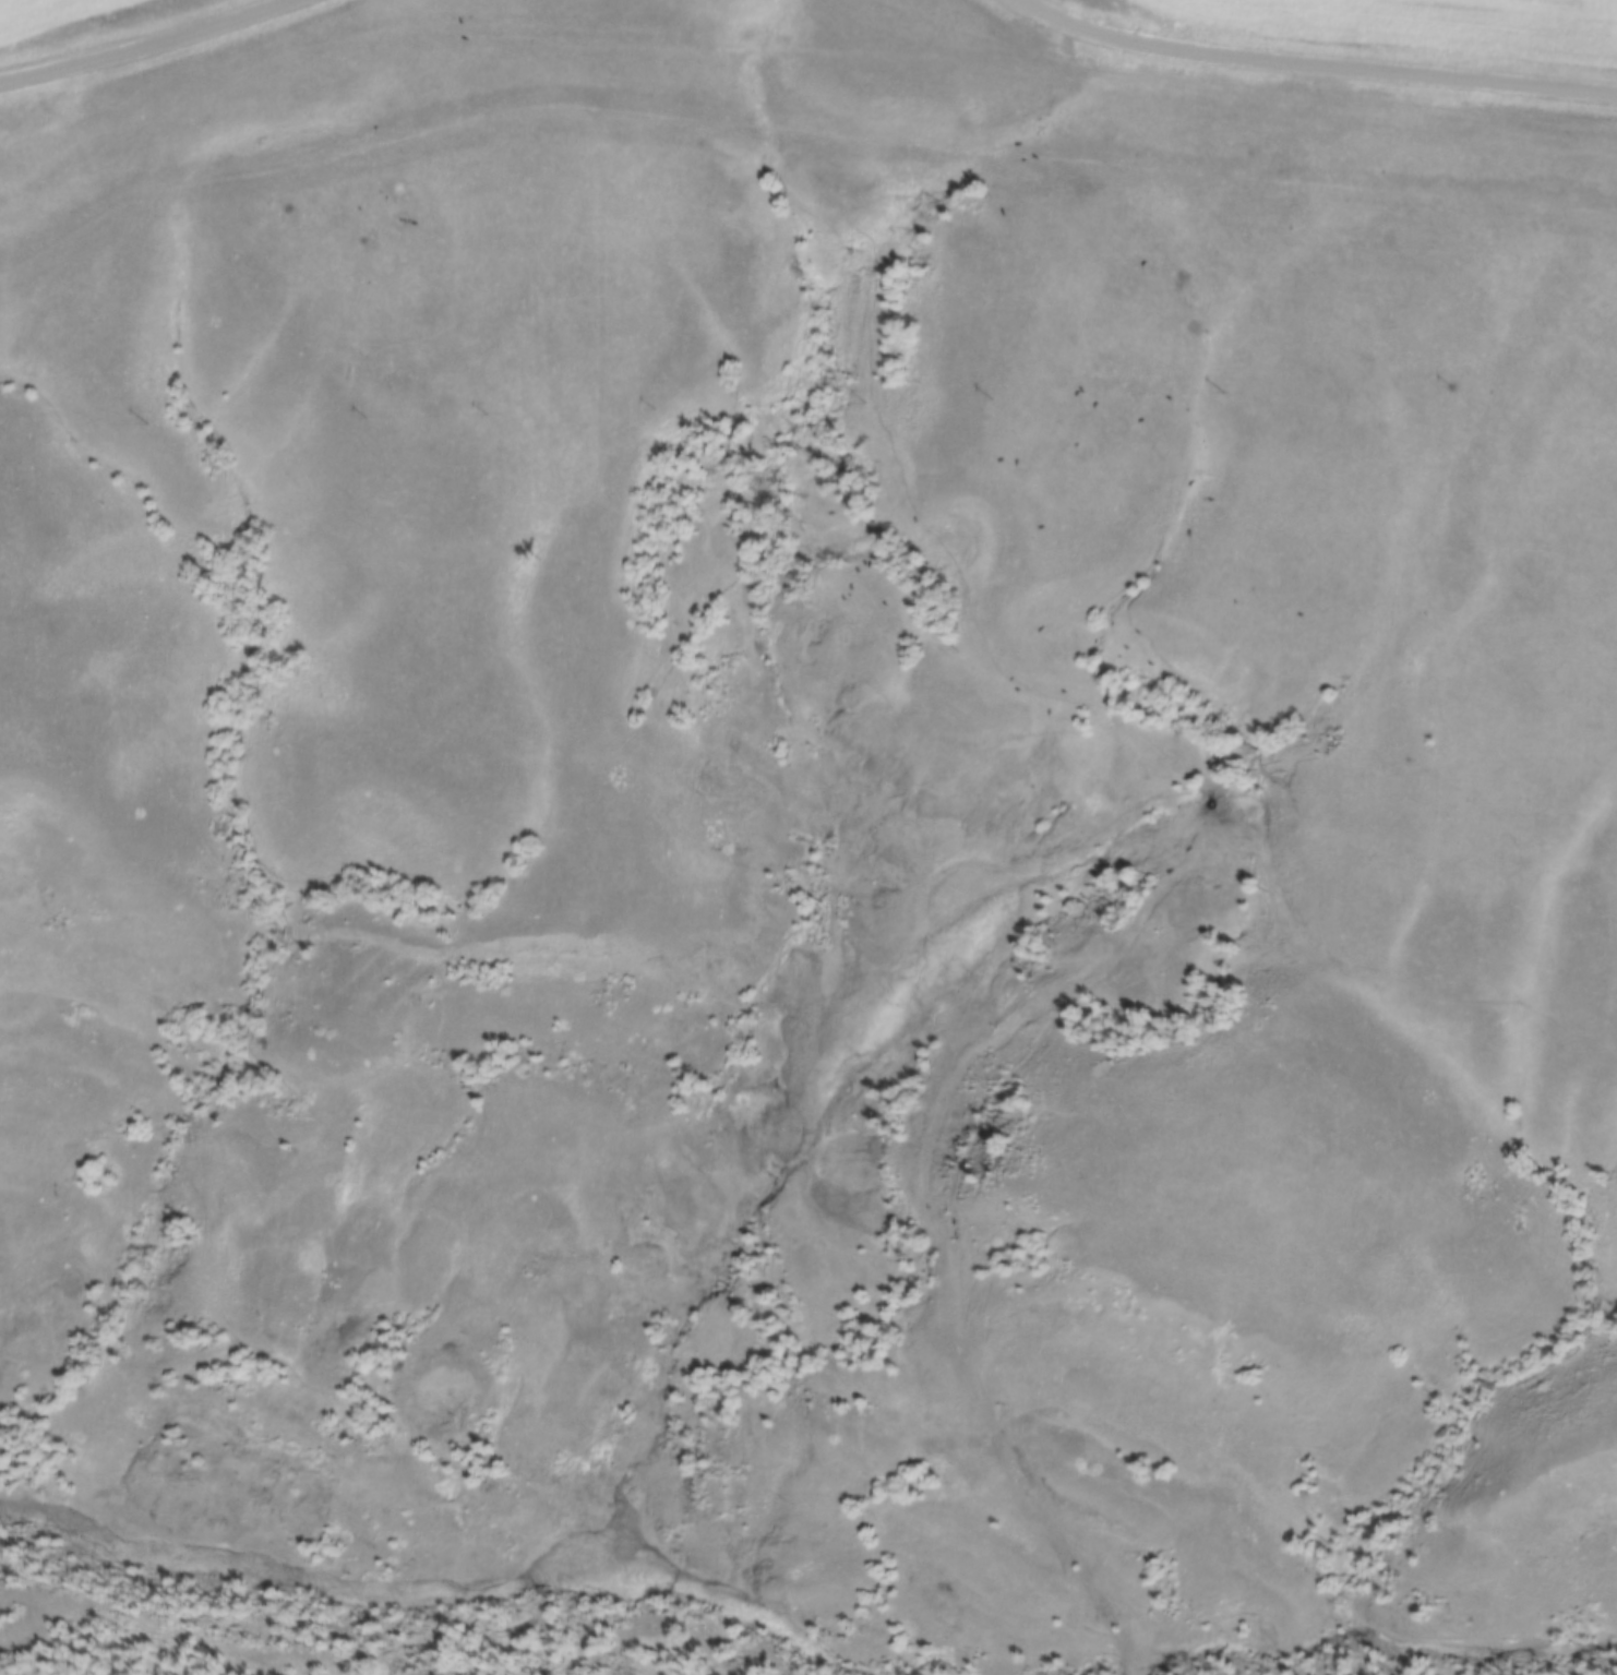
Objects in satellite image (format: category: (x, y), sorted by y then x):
road: (170, 34)
road: (1295, 72)

